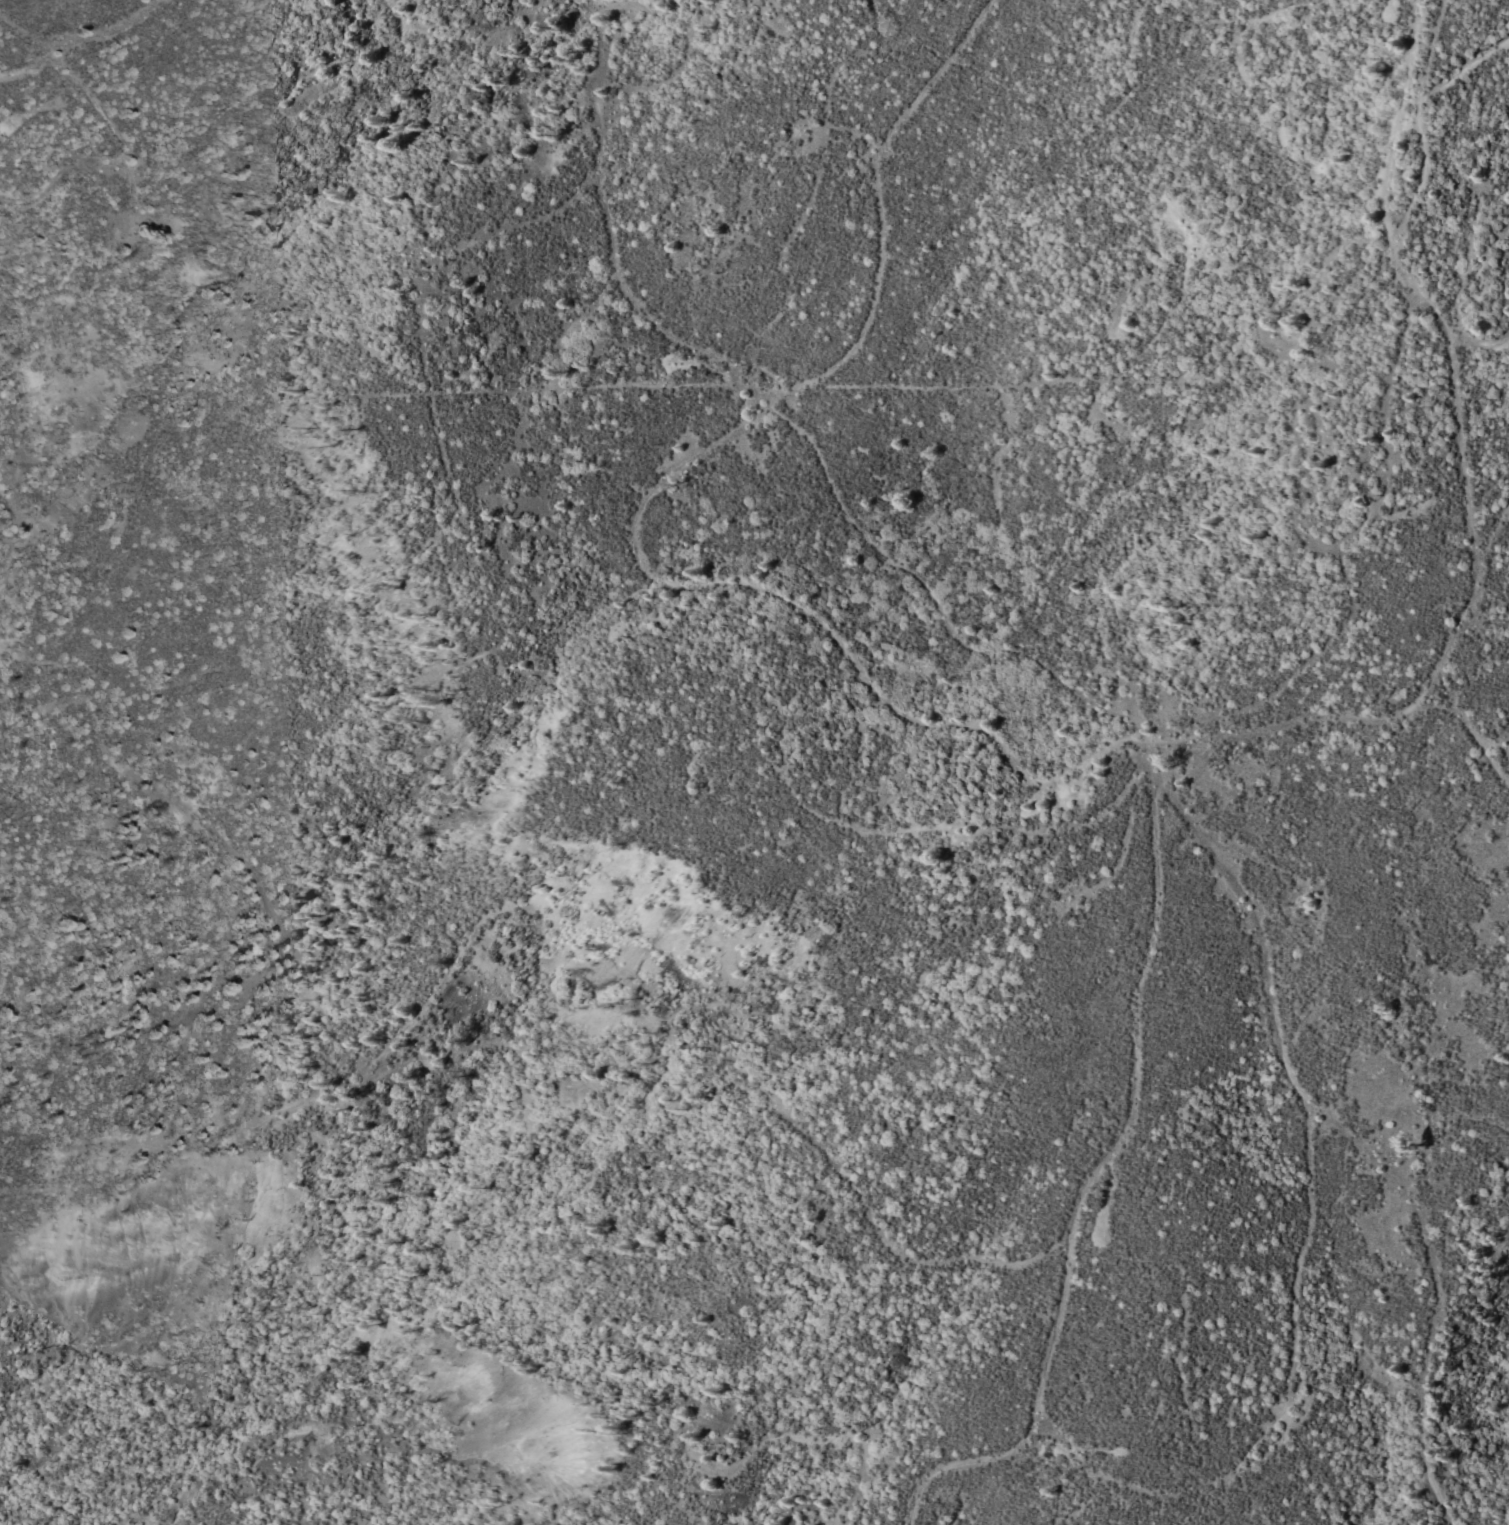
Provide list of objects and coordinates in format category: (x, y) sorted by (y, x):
quarry: (1442, 1414)

